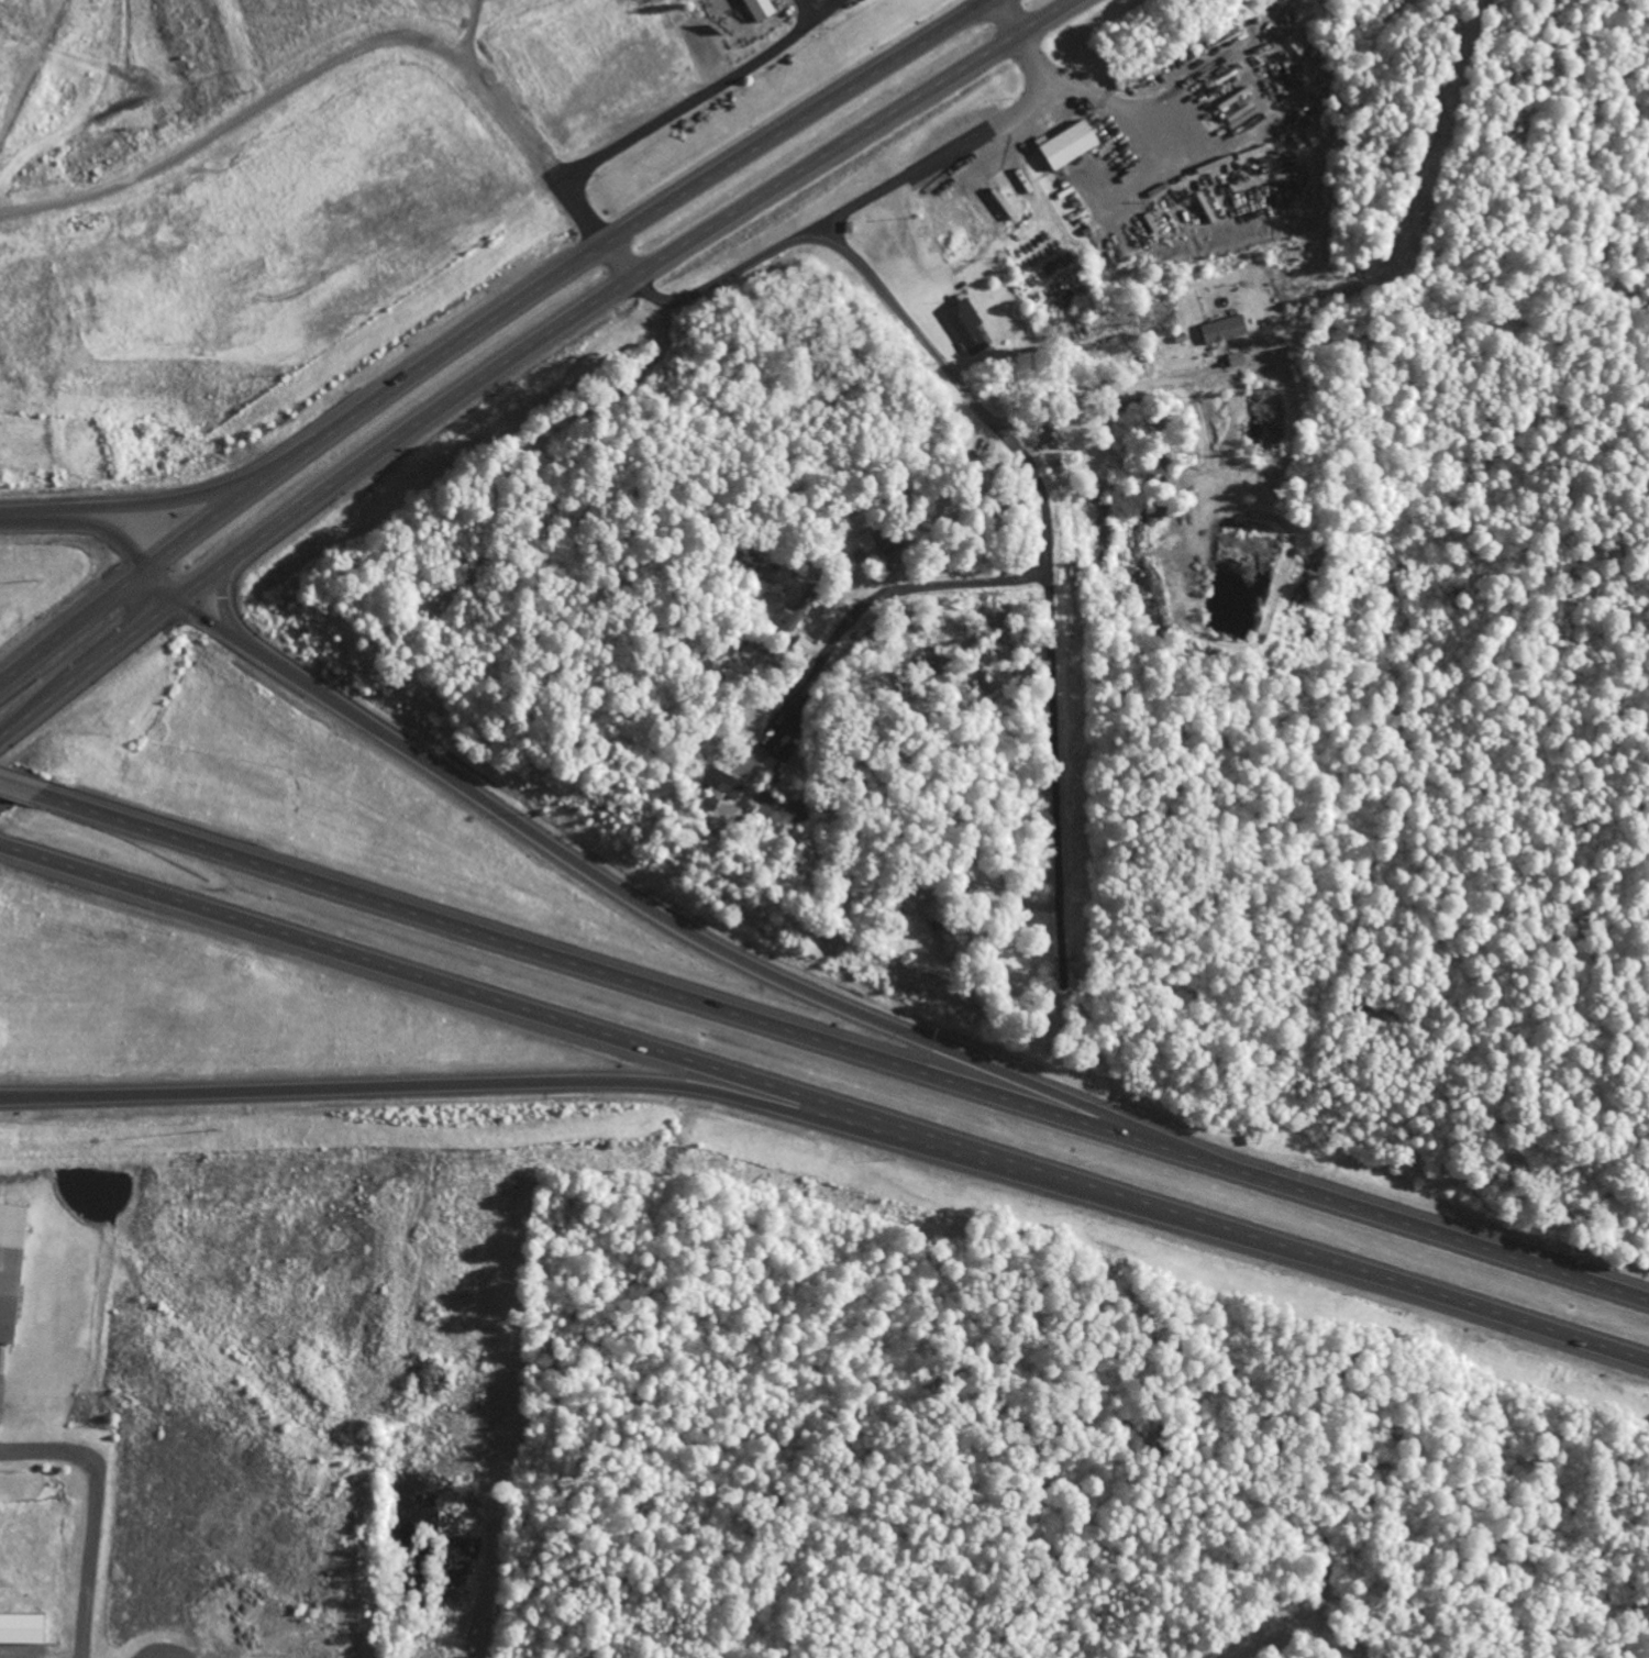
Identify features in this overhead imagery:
building: (759, 9)
road: (805, 12)
building: (1394, 13)
road: (838, 52)
road: (679, 111)
building: (1066, 143)
road: (864, 201)
building: (1009, 203)
building: (21, 220)
road: (484, 324)
building: (969, 329)
building: (1217, 331)
road: (525, 352)
road: (964, 389)
building: (1075, 438)
road: (157, 505)
road: (78, 528)
building: (876, 549)
road: (877, 601)
road: (190, 611)
building: (719, 783)
road: (1056, 785)
road: (20, 788)
building: (781, 810)
road: (661, 915)
building: (960, 947)
road: (843, 1050)
road: (490, 1085)
road: (823, 1106)
building: (10, 1294)
road: (91, 1515)

